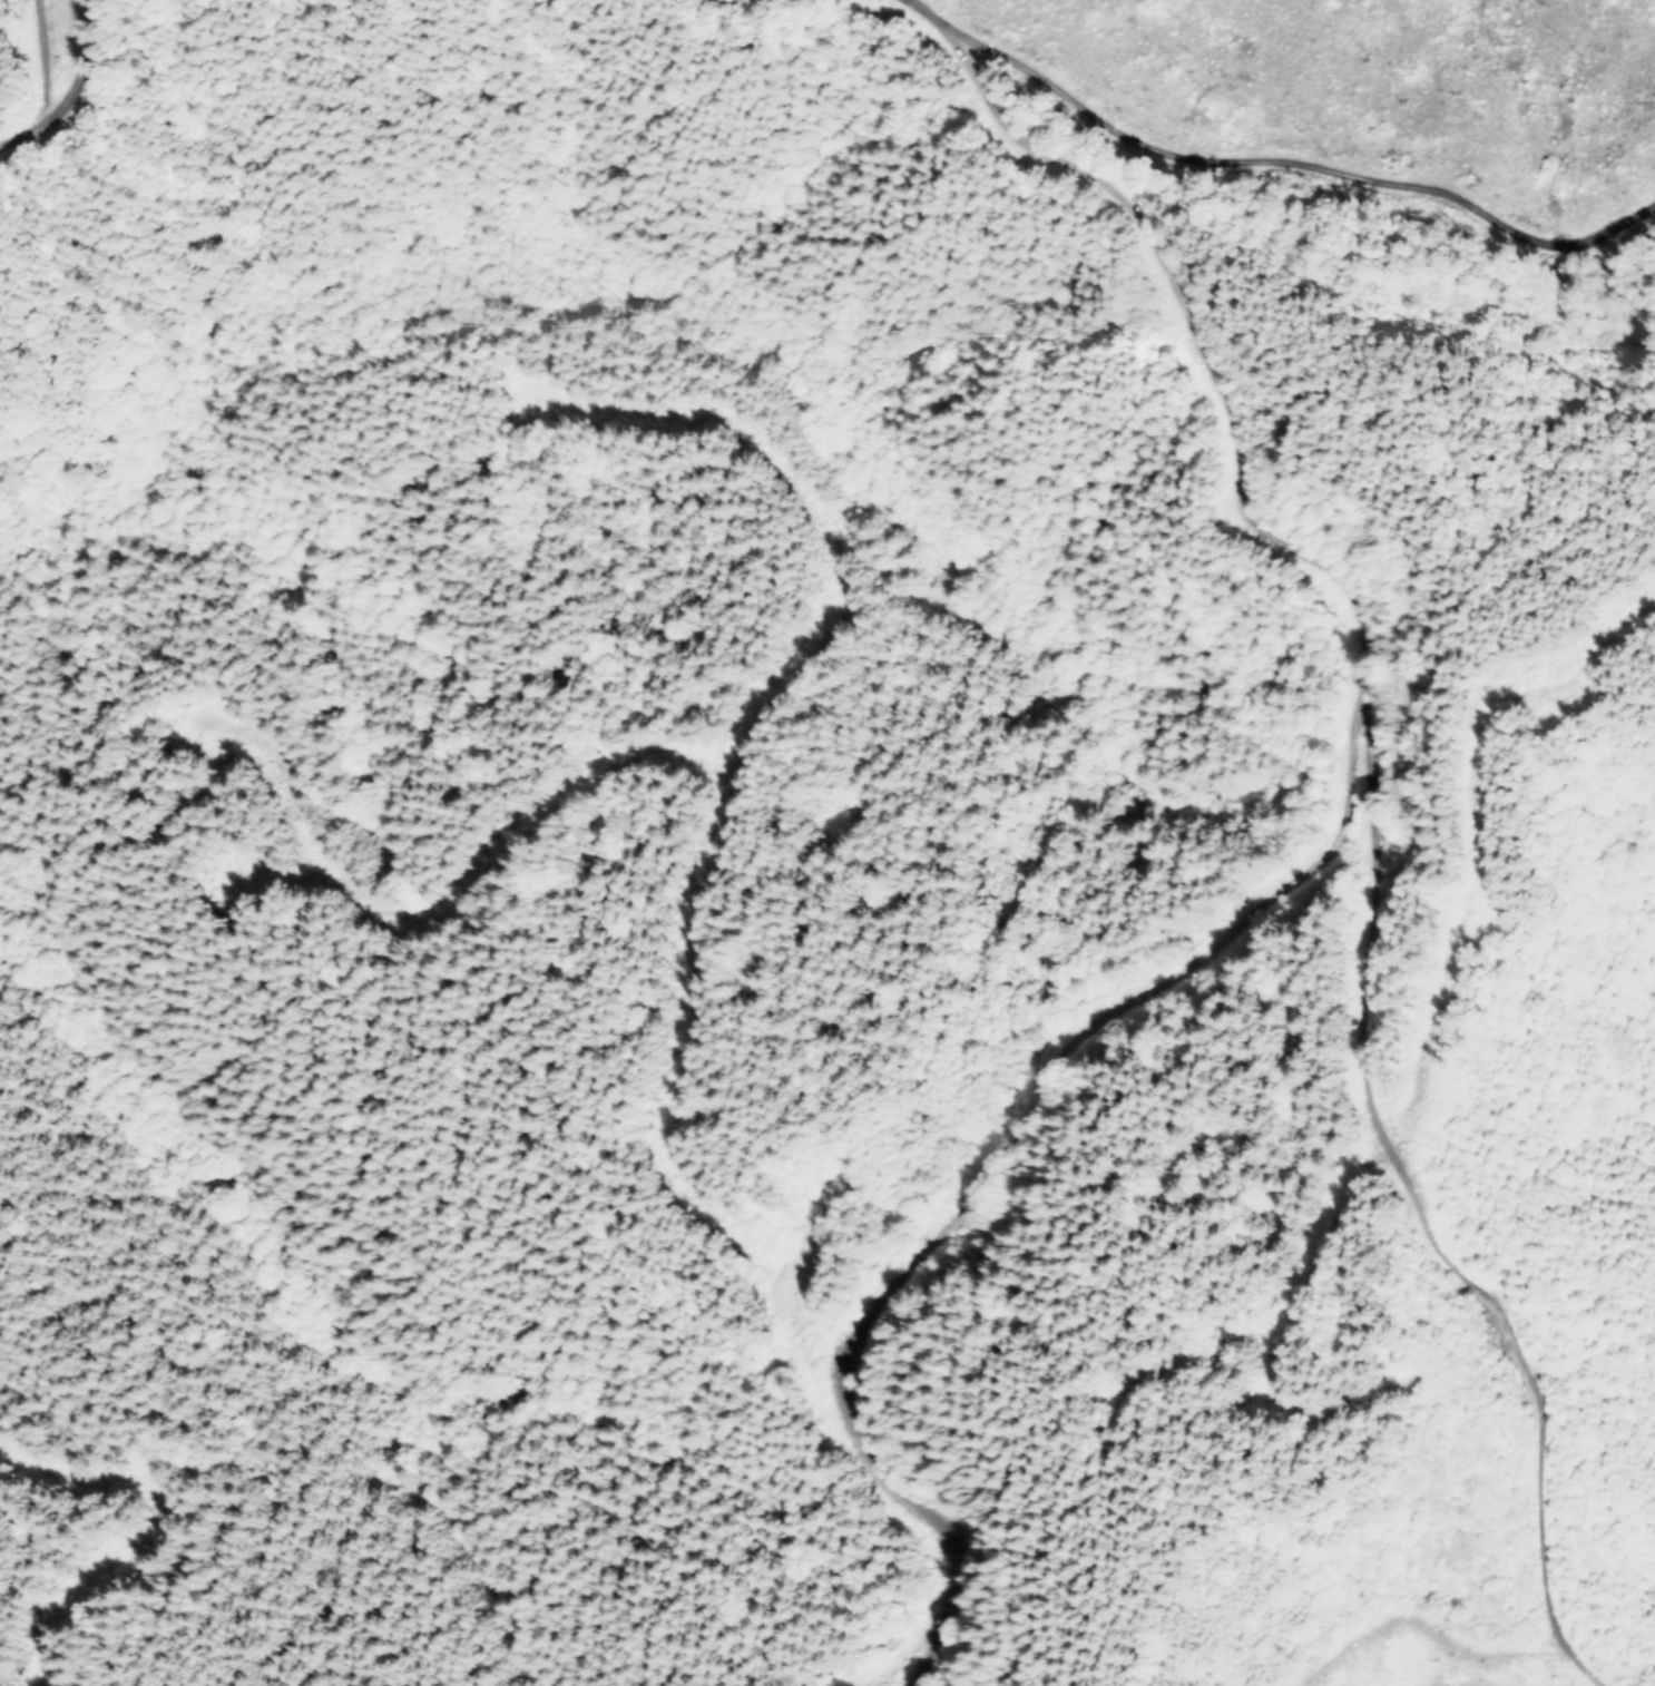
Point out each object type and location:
road: (57, 37)
road: (114, 53)
road: (1192, 166)
road: (1355, 950)
road: (546, 1360)
road: (1607, 1648)

